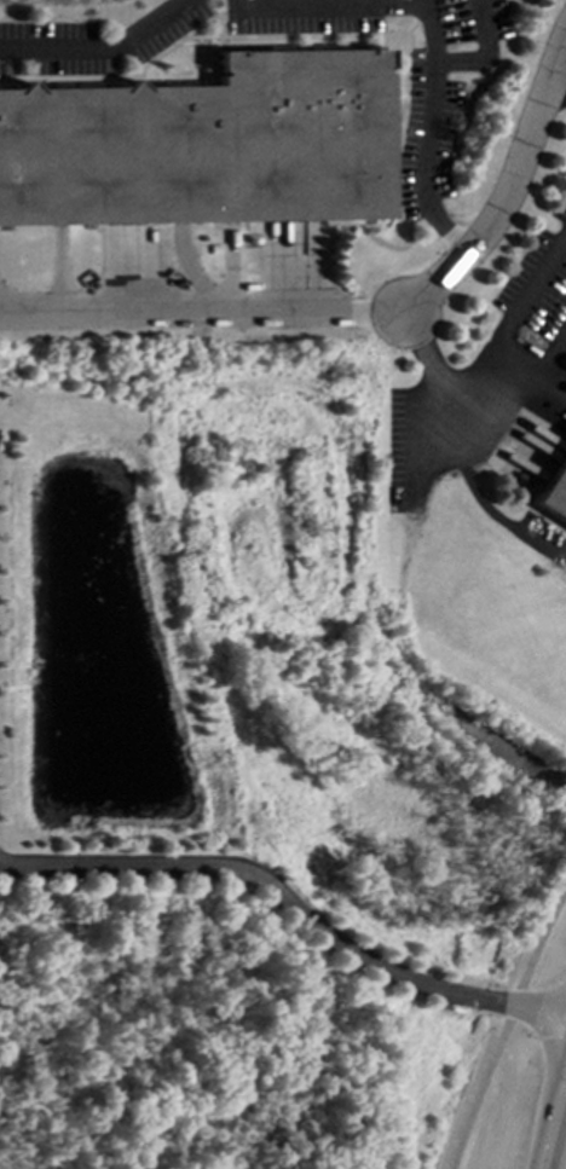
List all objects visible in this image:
road: (327, 10)
road: (102, 50)
road: (483, 50)
road: (558, 88)
road: (431, 133)
building: (202, 145)
road: (509, 191)
road: (359, 316)
road: (519, 390)
building: (553, 490)
road: (293, 901)
road: (502, 1025)
road: (553, 1122)

